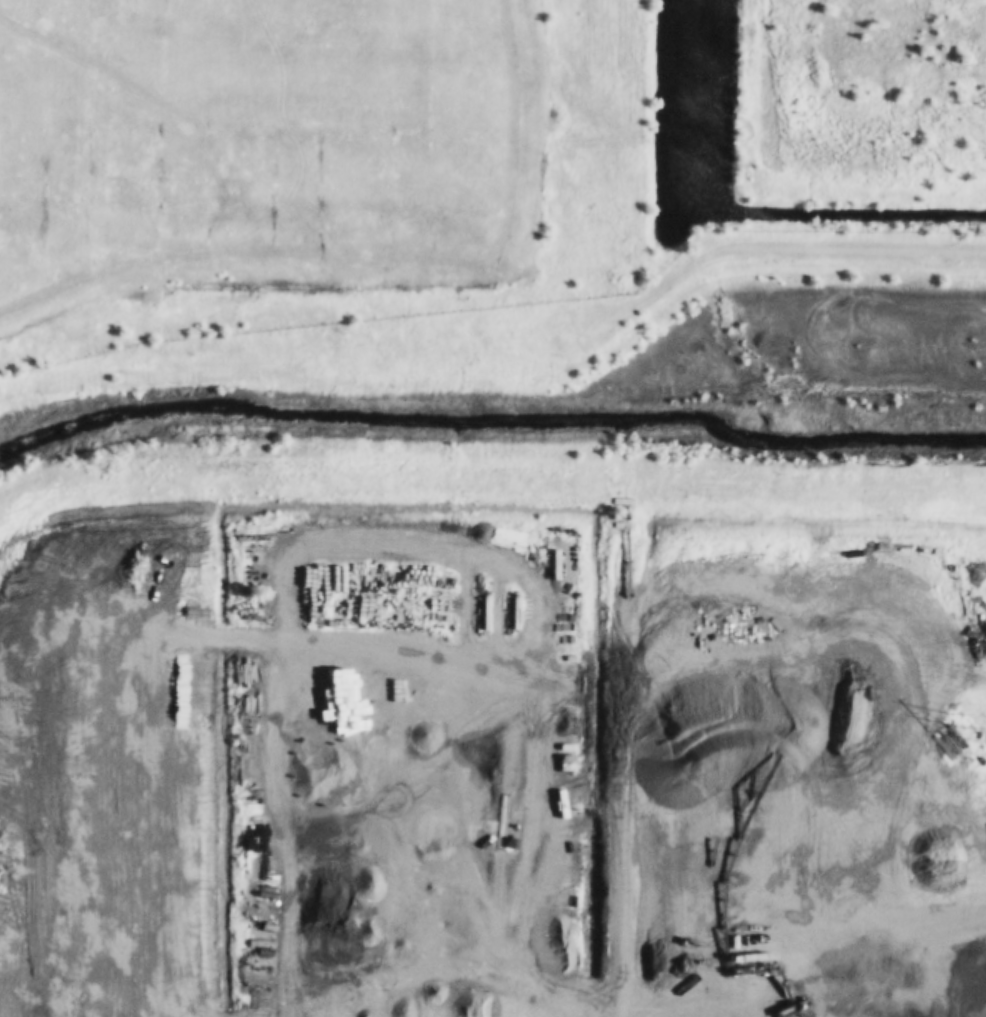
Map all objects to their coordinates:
building: (84, 524)
building: (66, 526)
building: (100, 534)
road: (496, 695)
power tower: (971, 727)
quarry: (600, 764)

